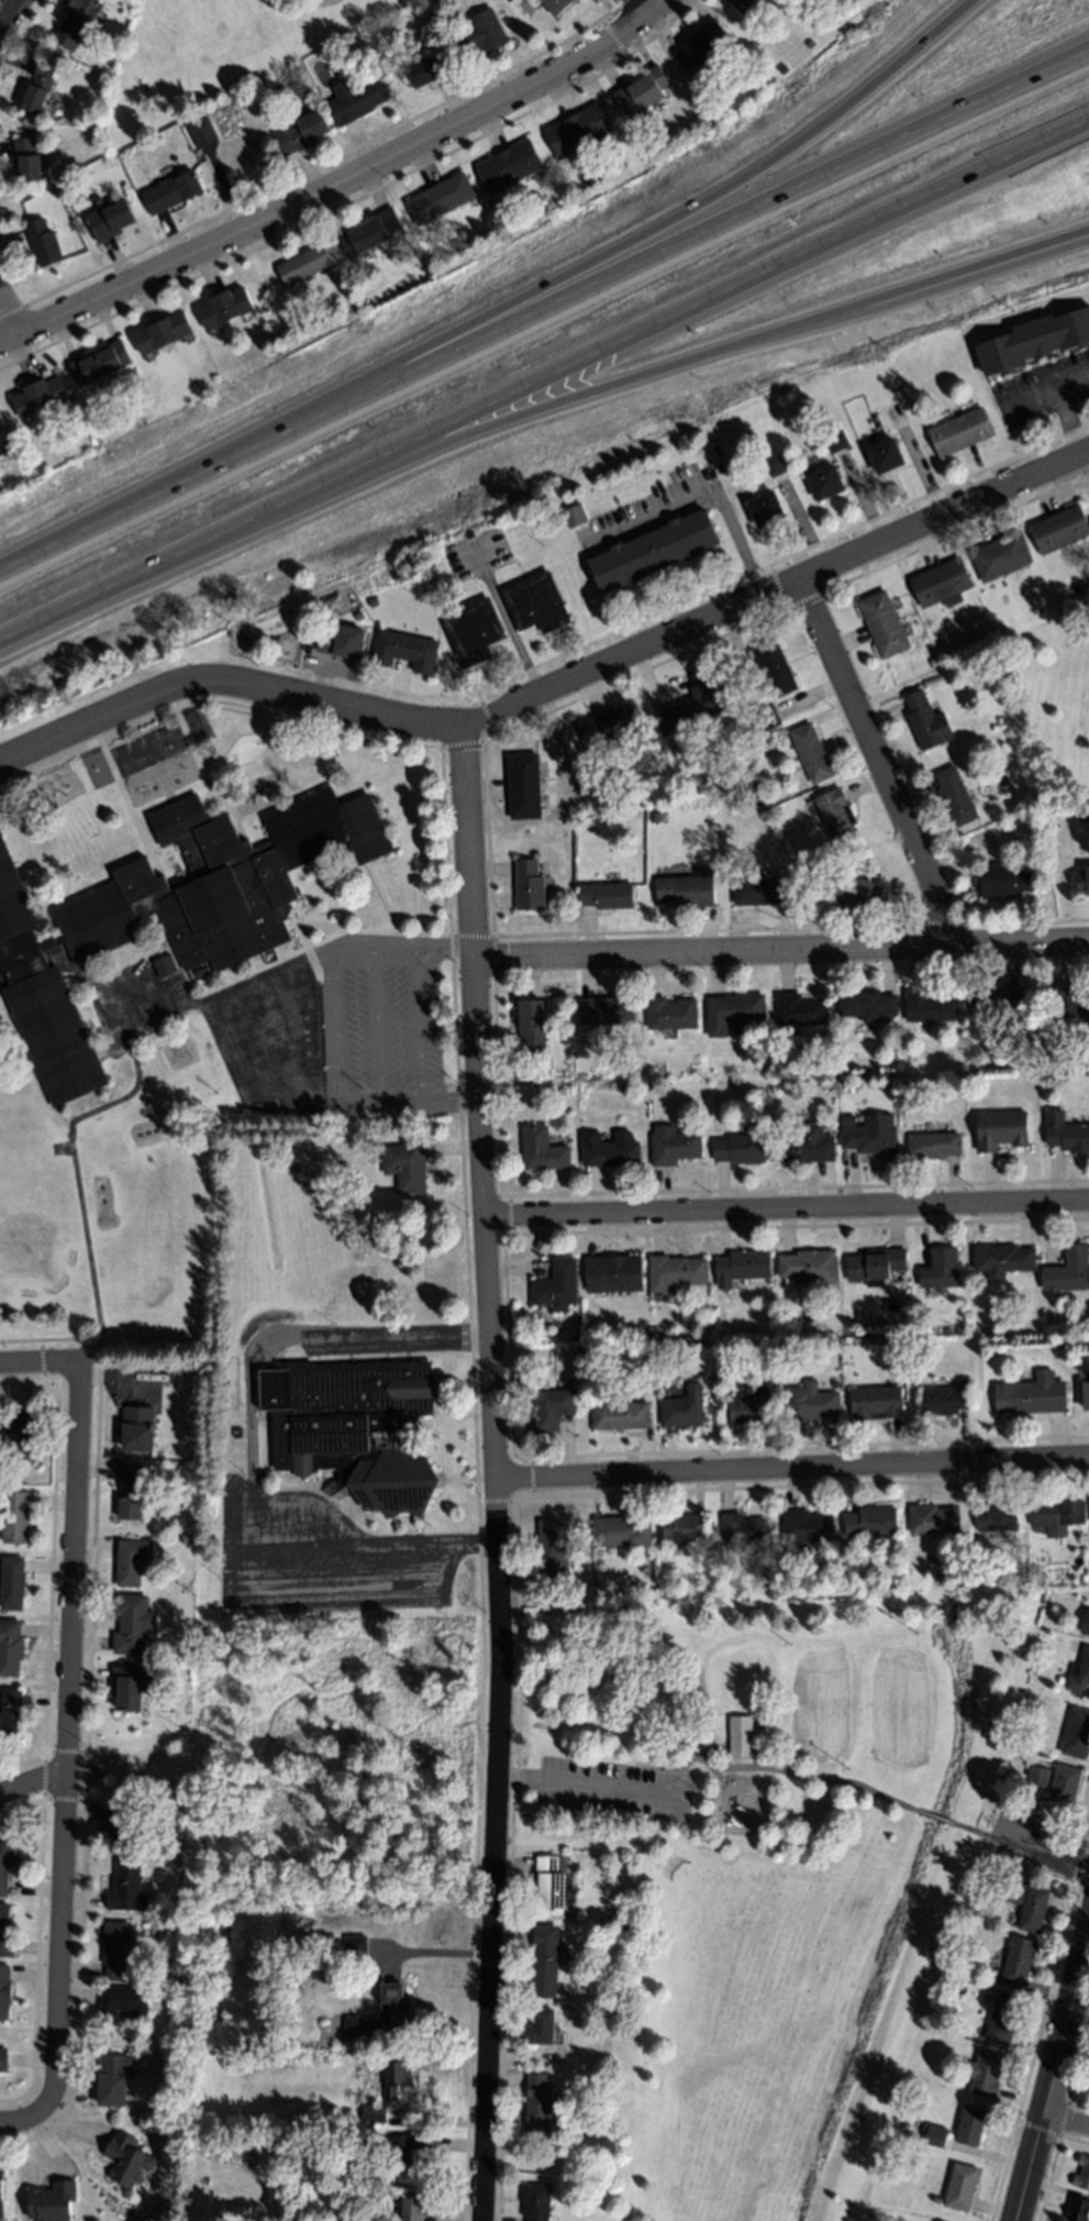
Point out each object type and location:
building: (552, 4)
building: (749, 4)
road: (642, 7)
road: (7, 13)
building: (77, 23)
road: (662, 29)
building: (481, 33)
building: (703, 45)
park: (234, 62)
building: (426, 69)
building: (784, 70)
building: (766, 73)
building: (38, 87)
building: (641, 92)
building: (356, 100)
building: (298, 130)
building: (578, 131)
building: (202, 132)
building: (26, 159)
road: (316, 166)
building: (510, 166)
road: (338, 186)
building: (171, 192)
building: (442, 201)
road: (337, 207)
building: (110, 220)
building: (371, 234)
building: (43, 242)
building: (304, 265)
building: (225, 308)
road: (502, 311)
road: (545, 318)
road: (9, 319)
building: (163, 332)
building: (1034, 341)
building: (99, 361)
road: (542, 382)
road: (629, 384)
road: (1046, 387)
building: (40, 396)
road: (1068, 420)
building: (1, 424)
building: (962, 433)
building: (836, 442)
building: (886, 455)
building: (775, 465)
building: (826, 483)
building: (766, 509)
building: (575, 516)
building: (1059, 530)
building: (654, 551)
building: (1001, 556)
building: (942, 584)
building: (334, 603)
building: (374, 603)
building: (537, 604)
building: (884, 625)
road: (508, 627)
building: (474, 631)
building: (344, 643)
building: (405, 651)
building: (774, 668)
road: (554, 686)
building: (692, 705)
building: (764, 718)
park: (1043, 720)
building: (926, 721)
building: (609, 727)
building: (812, 754)
building: (738, 758)
road: (877, 760)
building: (524, 787)
building: (599, 796)
building: (956, 796)
building: (654, 815)
building: (1085, 817)
building: (838, 818)
building: (1007, 881)
building: (1084, 882)
building: (530, 886)
building: (688, 889)
building: (815, 889)
building: (856, 889)
building: (763, 891)
building: (608, 896)
building: (168, 914)
road: (441, 947)
road: (377, 948)
road: (781, 950)
road: (335, 959)
building: (165, 966)
building: (1071, 1002)
building: (868, 1005)
building: (929, 1007)
building: (997, 1007)
building: (801, 1009)
building: (607, 1012)
building: (734, 1013)
building: (671, 1014)
building: (1045, 1021)
road: (379, 1024)
building: (533, 1026)
road: (418, 1027)
road: (337, 1032)
building: (997, 1062)
building: (1048, 1079)
building: (624, 1085)
road: (381, 1100)
road: (452, 1100)
building: (1001, 1128)
building: (870, 1134)
building: (1066, 1134)
building: (808, 1143)
building: (934, 1145)
building: (676, 1148)
building: (740, 1149)
building: (544, 1150)
building: (613, 1152)
building: (408, 1164)
road: (75, 1174)
road: (789, 1208)
building: (1004, 1260)
building: (742, 1266)
building: (877, 1266)
building: (809, 1267)
building: (942, 1269)
building: (1069, 1270)
building: (676, 1272)
building: (614, 1274)
building: (558, 1285)
road: (392, 1336)
building: (113, 1347)
road: (30, 1361)
building: (1033, 1395)
building: (1086, 1395)
building: (945, 1401)
building: (810, 1403)
building: (877, 1403)
building: (751, 1408)
building: (554, 1410)
building: (681, 1411)
building: (621, 1416)
building: (355, 1426)
building: (137, 1428)
road: (247, 1429)
building: (18, 1435)
road: (792, 1469)
road: (496, 1471)
building: (131, 1491)
building: (998, 1516)
building: (1057, 1516)
building: (15, 1518)
building: (934, 1520)
building: (871, 1522)
building: (808, 1526)
building: (684, 1527)
building: (744, 1529)
building: (623, 1532)
road: (476, 1546)
building: (555, 1548)
building: (132, 1560)
building: (1085, 1579)
building: (12, 1583)
road: (240, 1583)
building: (656, 1592)
building: (773, 1592)
building: (133, 1624)
building: (1086, 1624)
building: (12, 1645)
building: (599, 1675)
building: (1080, 1676)
building: (130, 1687)
building: (10, 1713)
road: (68, 1723)
building: (1077, 1734)
building: (742, 1735)
road: (725, 1768)
building: (1038, 1776)
road: (32, 1782)
building: (1066, 1784)
building: (169, 1794)
building: (119, 1825)
road: (1037, 1847)
building: (4, 1865)
park: (778, 1876)
building: (552, 1882)
building: (127, 1888)
building: (1029, 1904)
building: (624, 1925)
building: (5, 1931)
building: (969, 1944)
building: (356, 1946)
building: (116, 1949)
building: (1018, 1959)
building: (545, 1960)
building: (177, 1963)
building: (212, 1976)
building: (4, 1991)
building: (988, 1997)
building: (125, 2002)
building: (395, 2007)
building: (607, 2019)
building: (1003, 2020)
building: (546, 2027)
road: (1040, 2027)
building: (3, 2060)
building: (985, 2071)
building: (397, 2077)
building: (112, 2081)
road: (1053, 2082)
building: (165, 2104)
building: (538, 2108)
building: (374, 2112)
road: (1063, 2118)
road: (1067, 2121)
road: (29, 2122)
building: (973, 2124)
building: (943, 2142)
building: (411, 2150)
building: (126, 2158)
building: (1082, 2173)
building: (301, 2181)
building: (962, 2188)
building: (0, 2196)
building: (936, 2199)
building: (536, 2201)
building: (52, 2202)
building: (410, 2206)
building: (1079, 2210)

